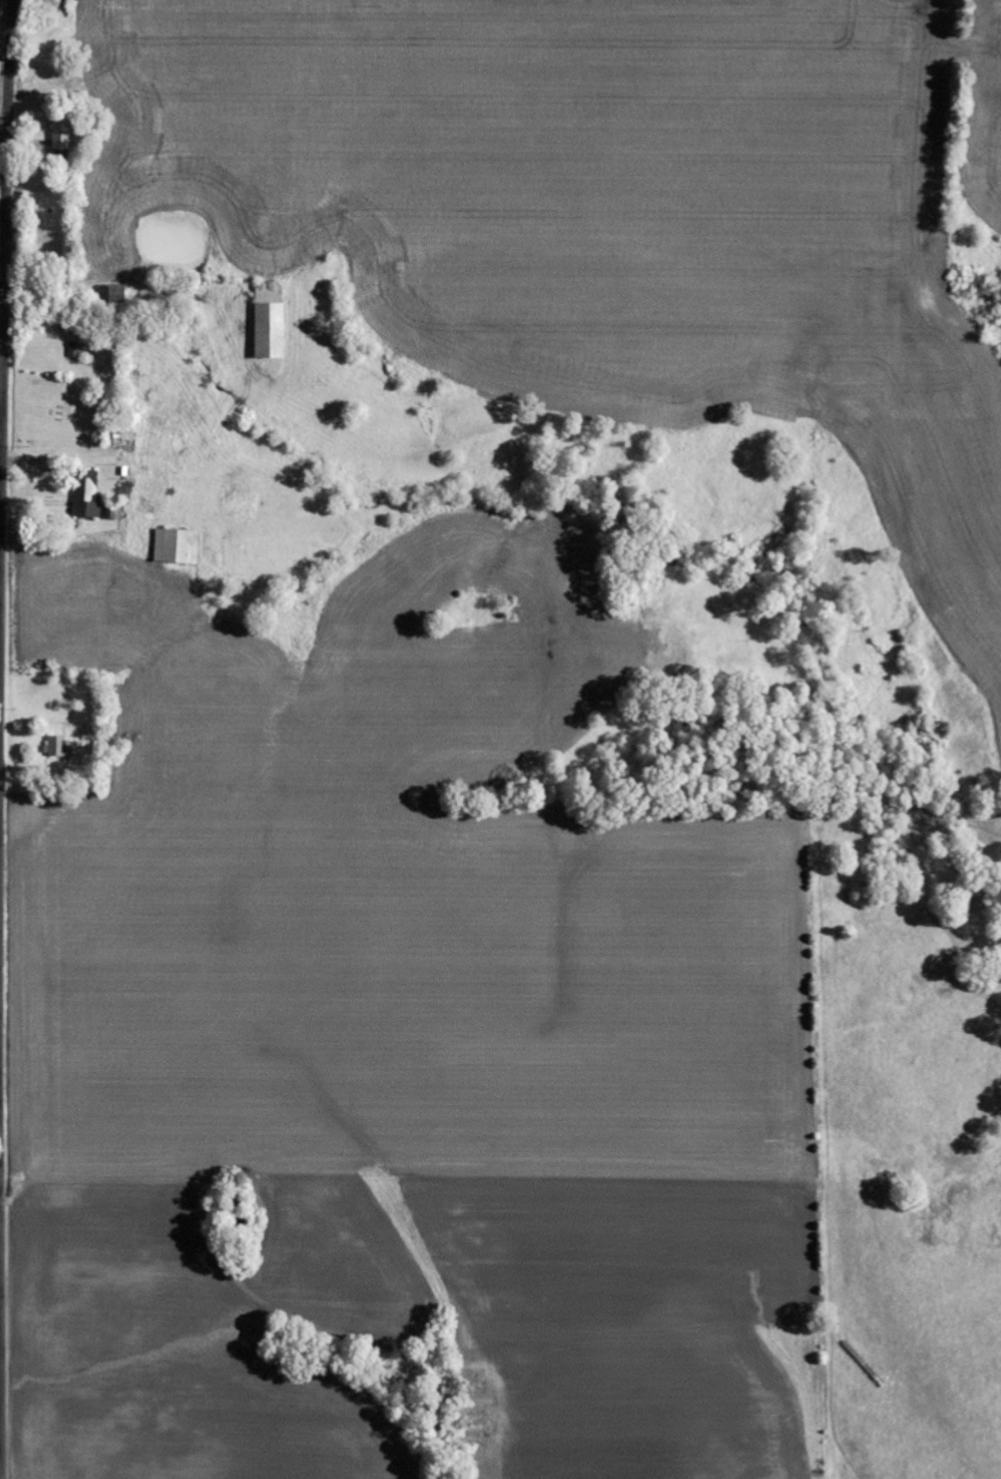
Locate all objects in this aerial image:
building: (63, 138)
road: (4, 279)
building: (121, 294)
building: (272, 323)
building: (89, 497)
building: (114, 514)
building: (58, 747)

